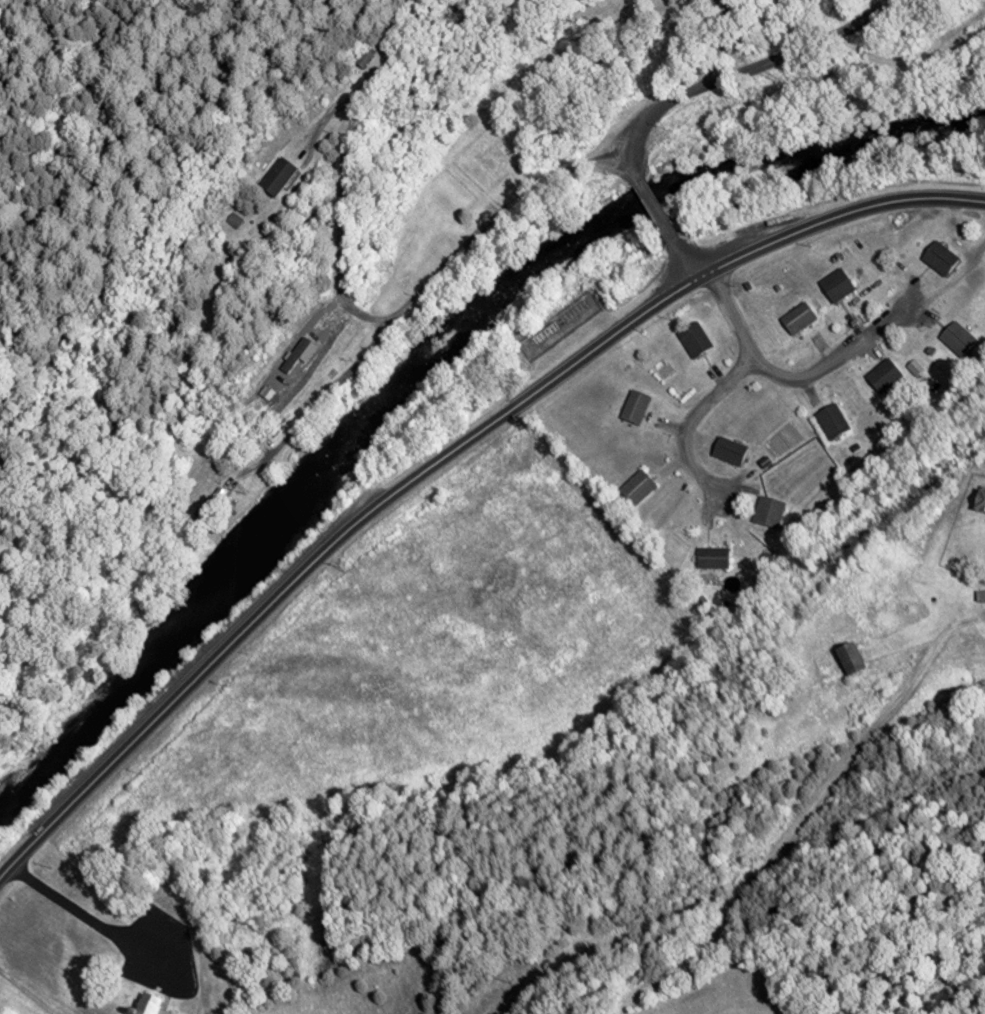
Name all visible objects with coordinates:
building: (603, 3)
building: (365, 57)
road: (742, 72)
building: (275, 177)
road: (655, 207)
building: (233, 219)
road: (683, 254)
building: (940, 260)
building: (837, 286)
road: (377, 315)
building: (798, 320)
building: (958, 339)
building: (695, 341)
river: (432, 358)
building: (884, 376)
road: (786, 379)
road: (321, 395)
building: (636, 407)
road: (696, 419)
building: (832, 422)
road: (441, 450)
building: (730, 452)
building: (638, 488)
building: (981, 503)
building: (209, 507)
building: (769, 513)
building: (714, 559)
building: (981, 596)
building: (849, 659)
road: (805, 815)
road: (80, 910)
parking lot: (160, 952)
building: (149, 1005)

